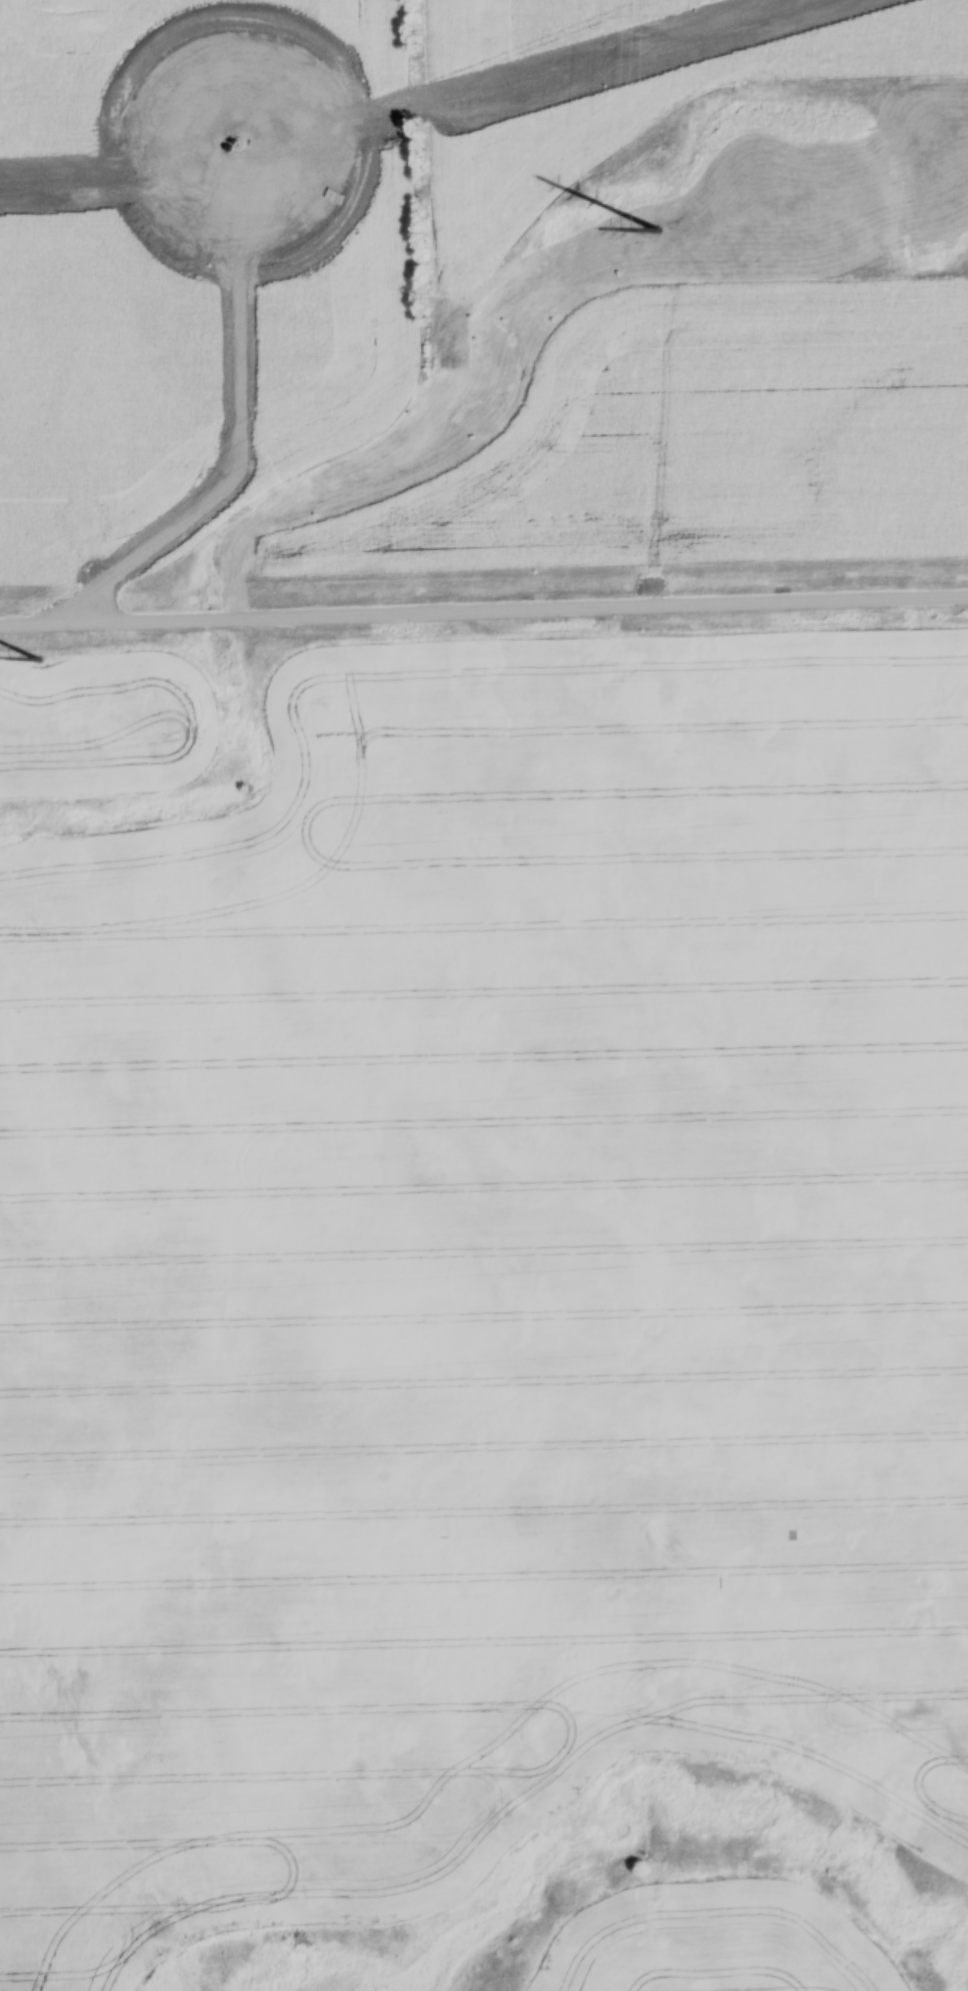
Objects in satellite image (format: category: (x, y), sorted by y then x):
wind turbine: (248, 143)
power tower: (660, 228)
road: (483, 606)
power tower: (40, 657)

